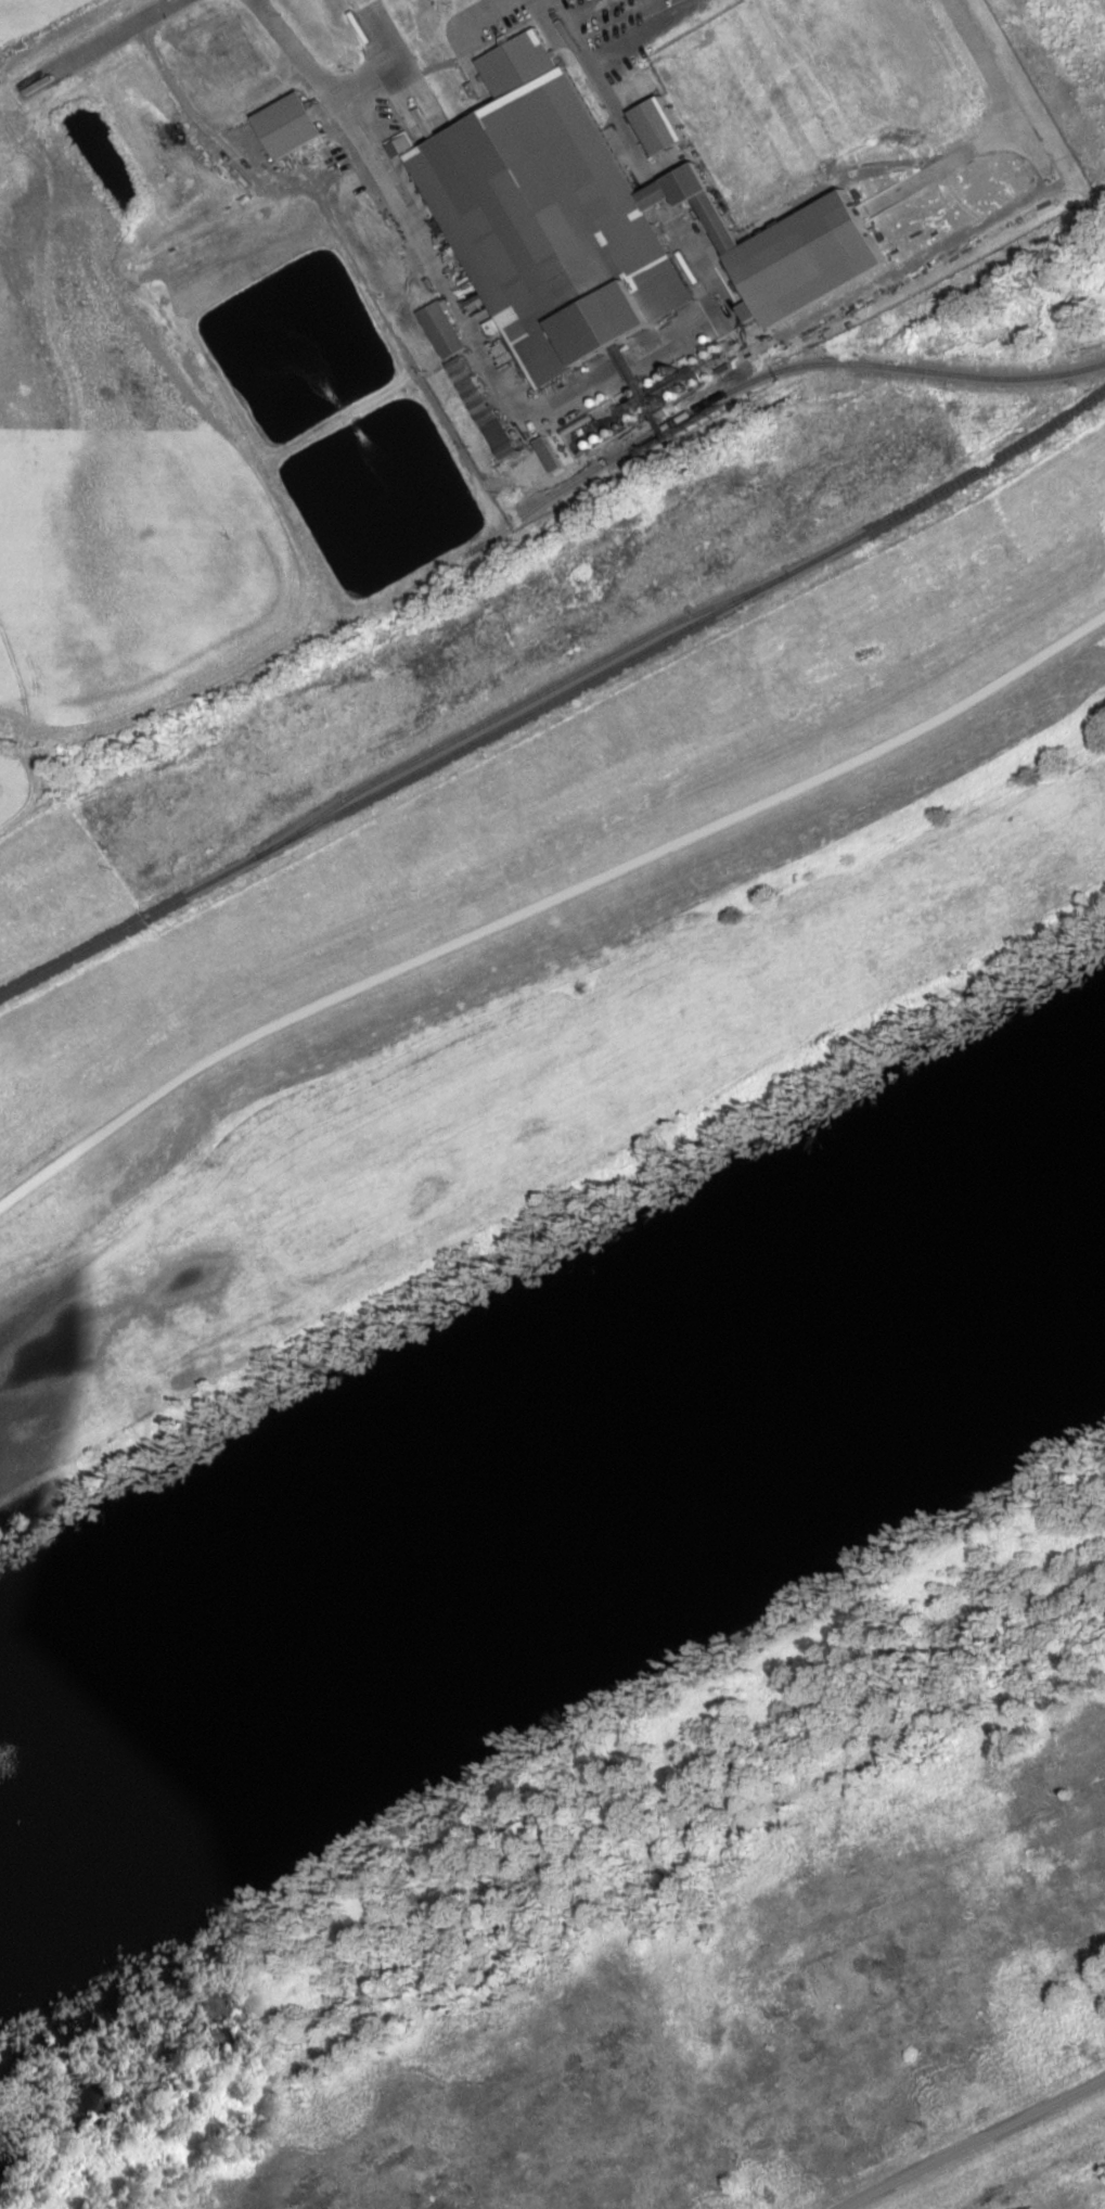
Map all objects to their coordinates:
road: (100, 46)
road: (567, 405)
railway: (555, 699)
road: (542, 886)
road: (977, 2144)

